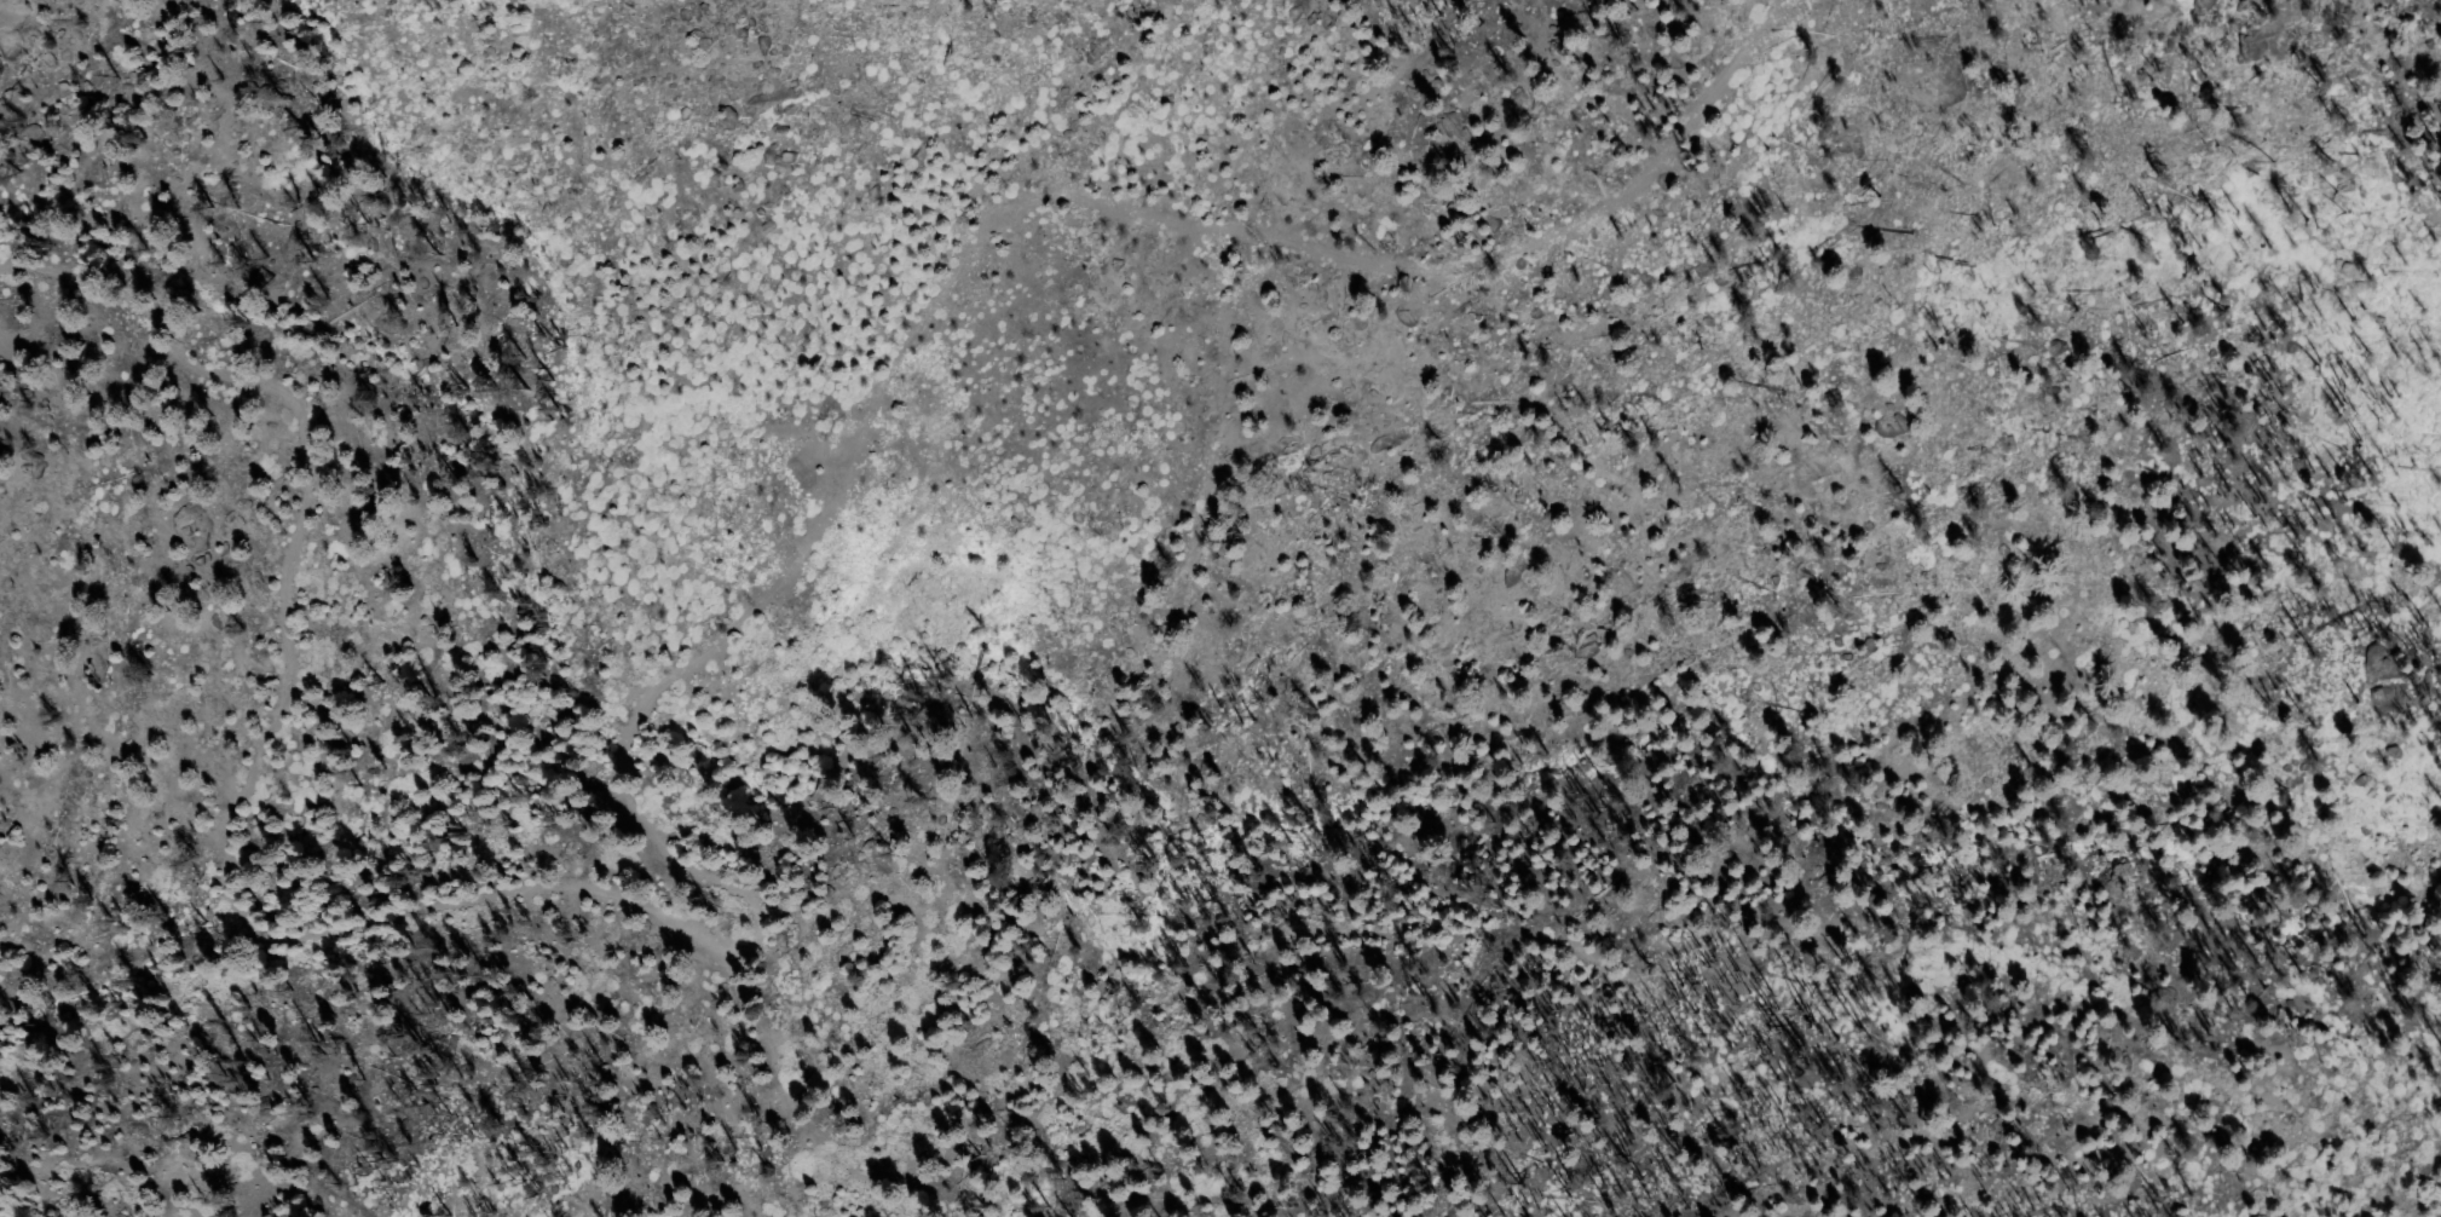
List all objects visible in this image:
road: (329, 481)
road: (1308, 970)

